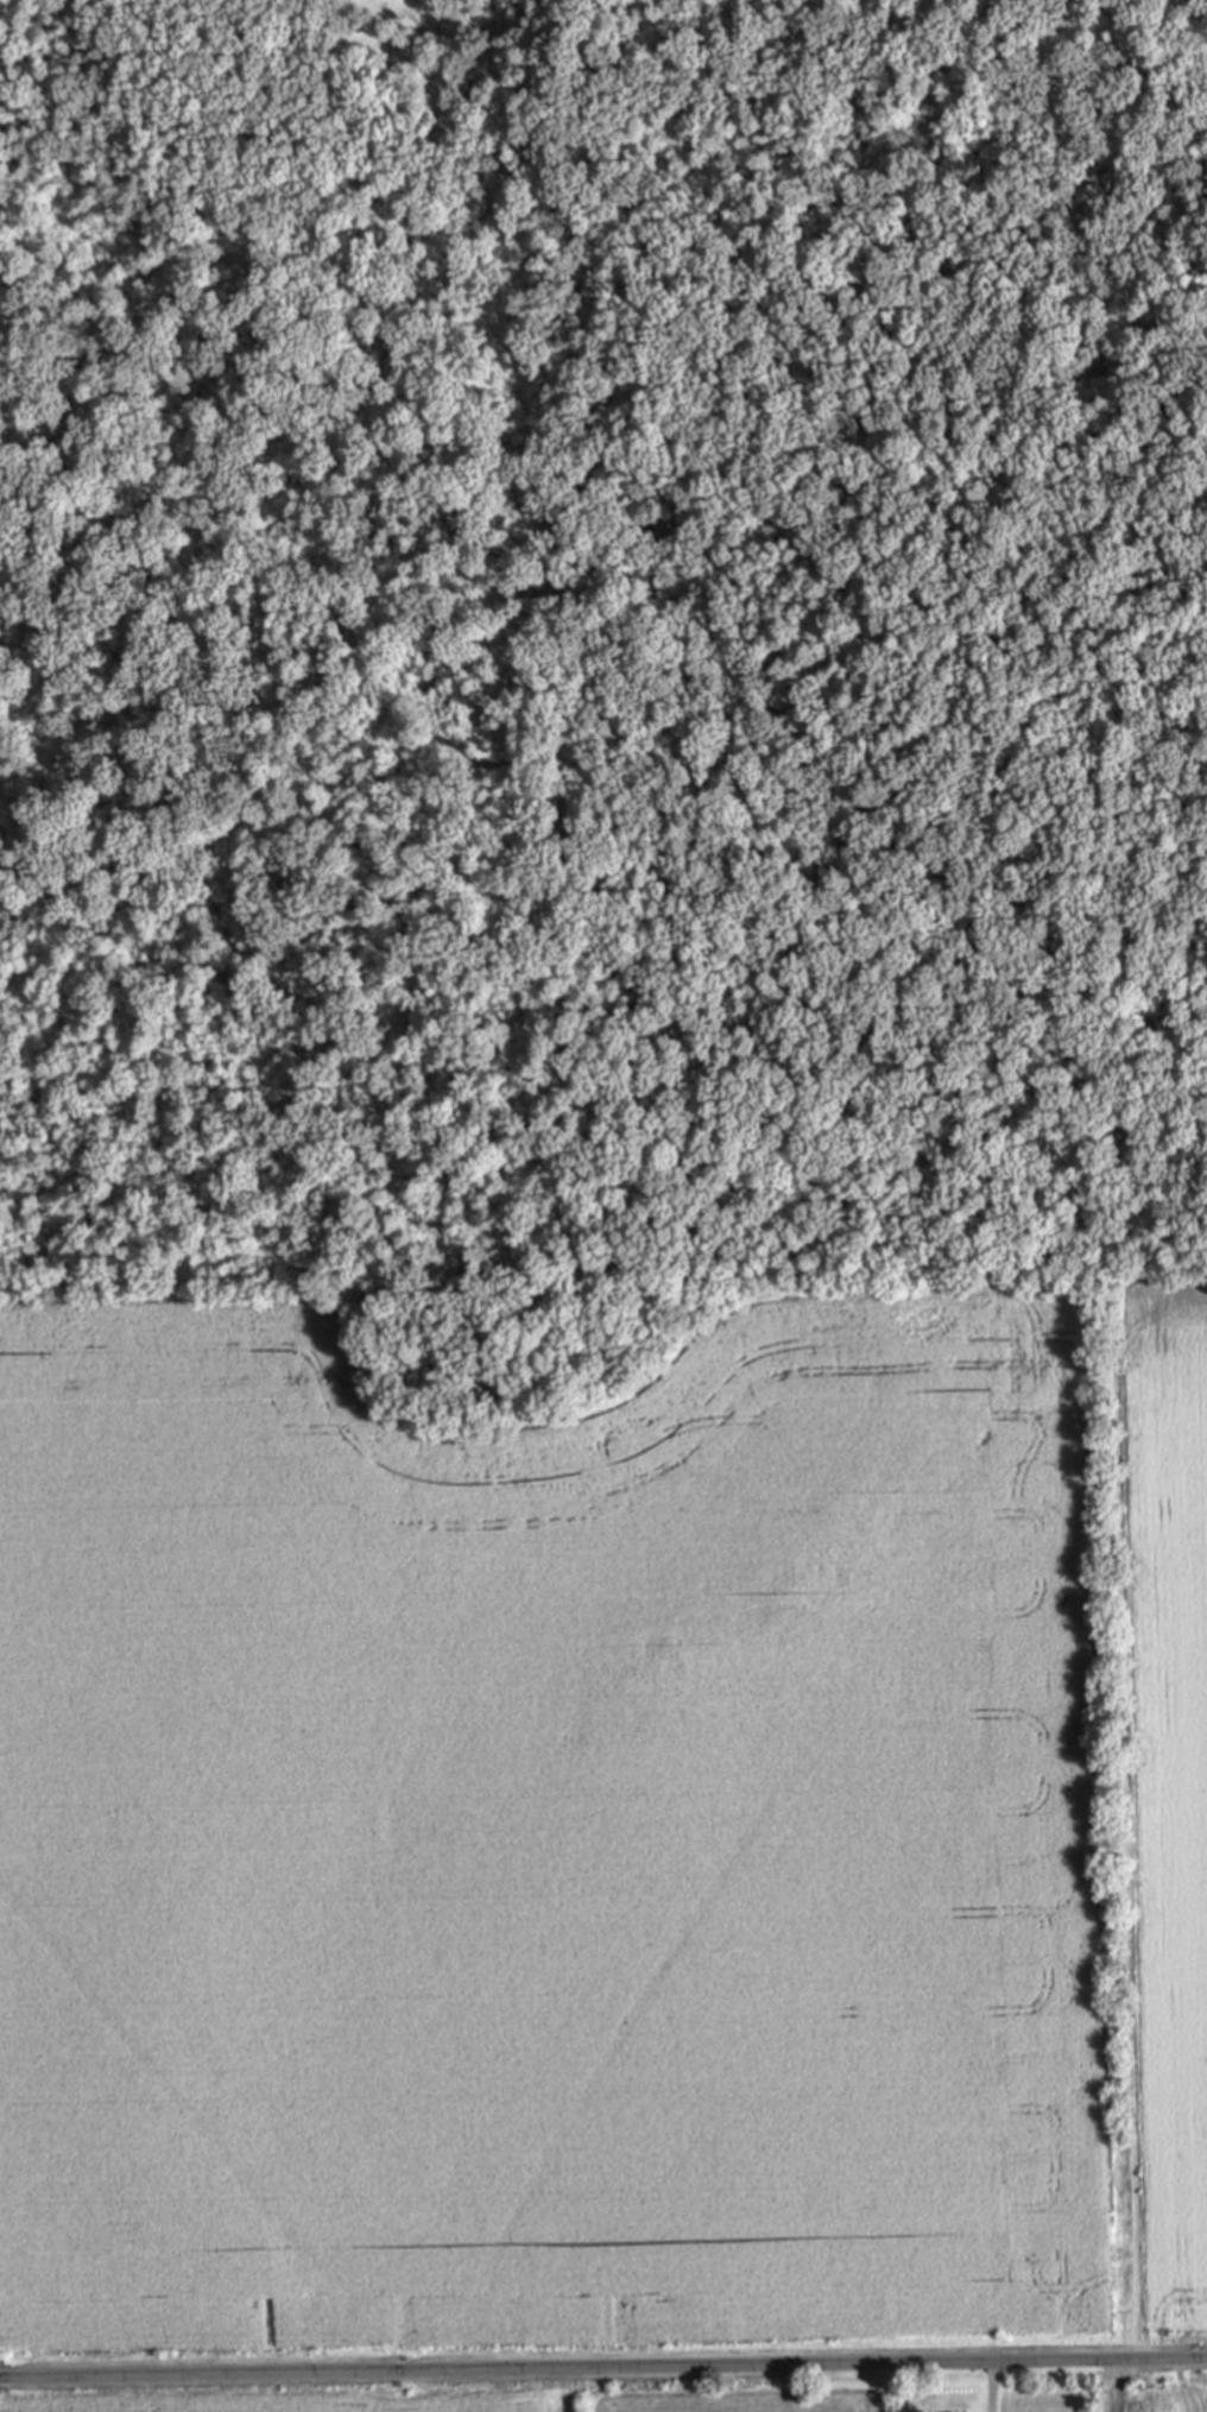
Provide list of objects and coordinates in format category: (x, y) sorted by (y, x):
road: (602, 2367)
road: (990, 2386)

